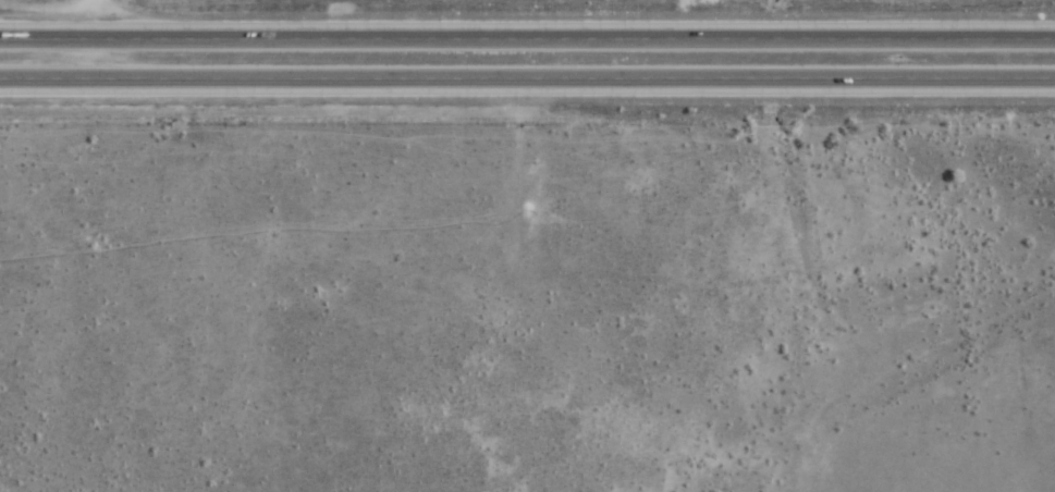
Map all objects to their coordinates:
road: (96, 40)
road: (527, 41)
road: (527, 82)

